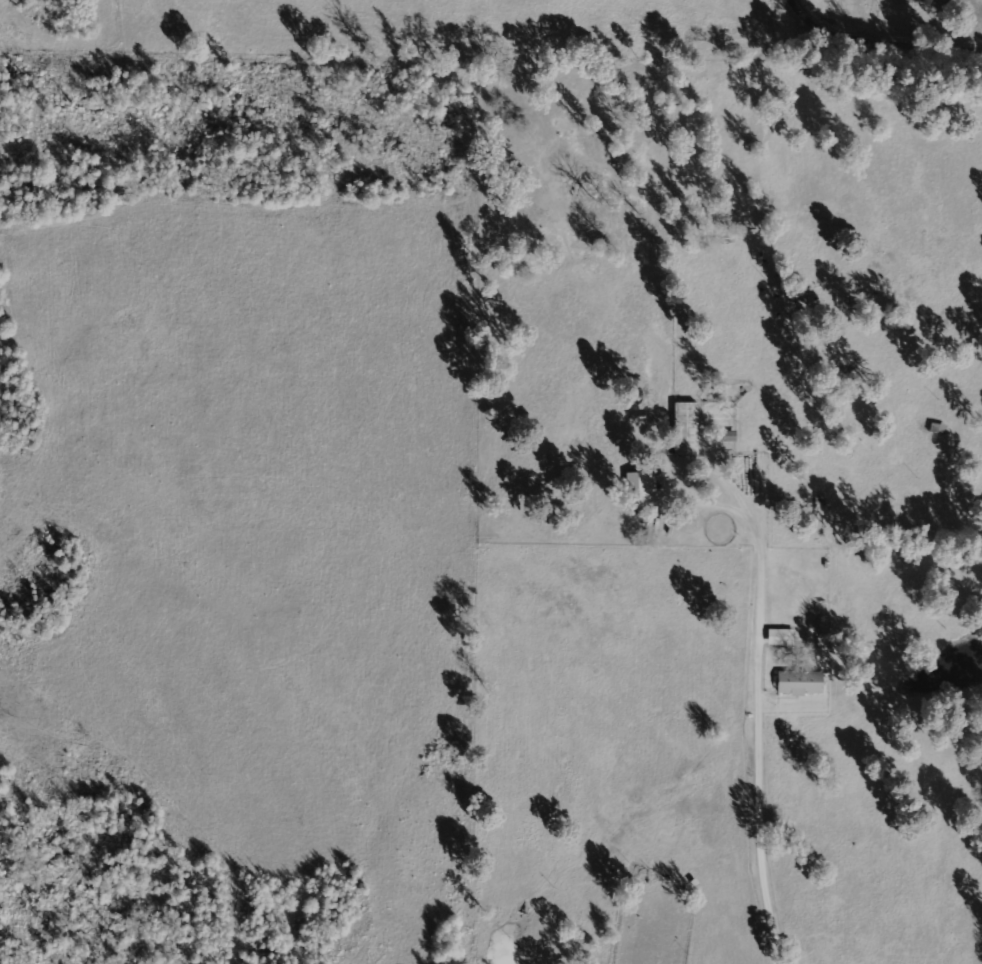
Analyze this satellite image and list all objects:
road: (883, 40)
building: (686, 428)
building: (730, 436)
building: (640, 484)
building: (781, 636)
building: (800, 682)
road: (762, 825)

